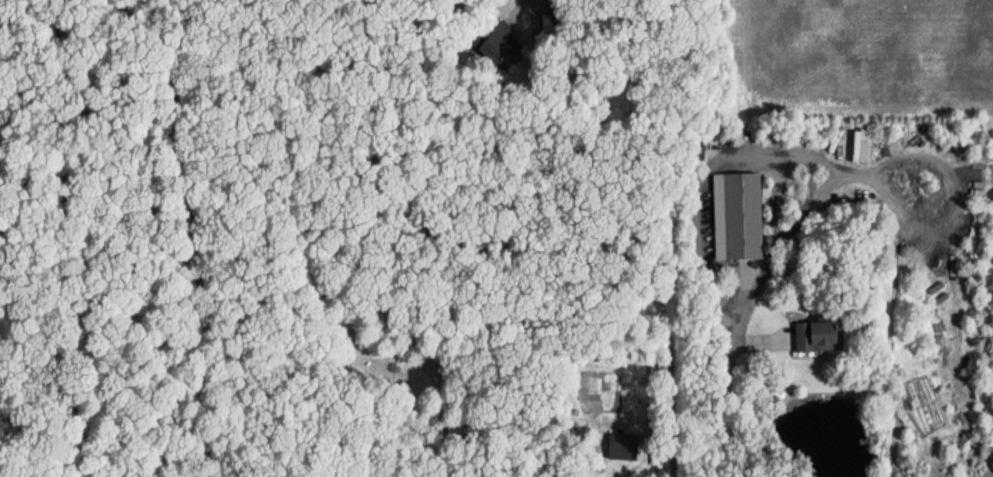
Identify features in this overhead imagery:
building: (494, 40)
building: (859, 145)
road: (852, 173)
building: (735, 215)
road: (794, 227)
road: (622, 230)
road: (201, 237)
road: (48, 238)
road: (67, 238)
building: (811, 336)
road: (724, 384)
road: (409, 437)
building: (620, 444)

